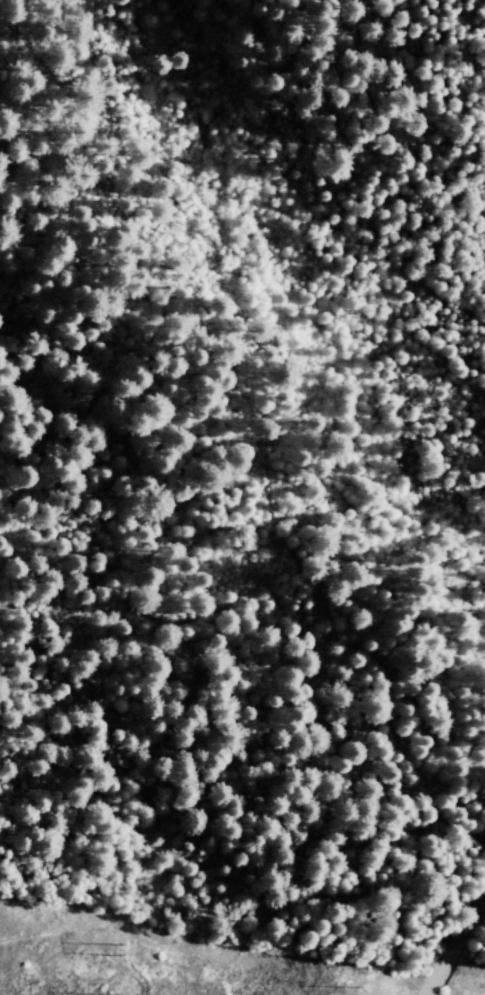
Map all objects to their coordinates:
power tower: (120, 948)

